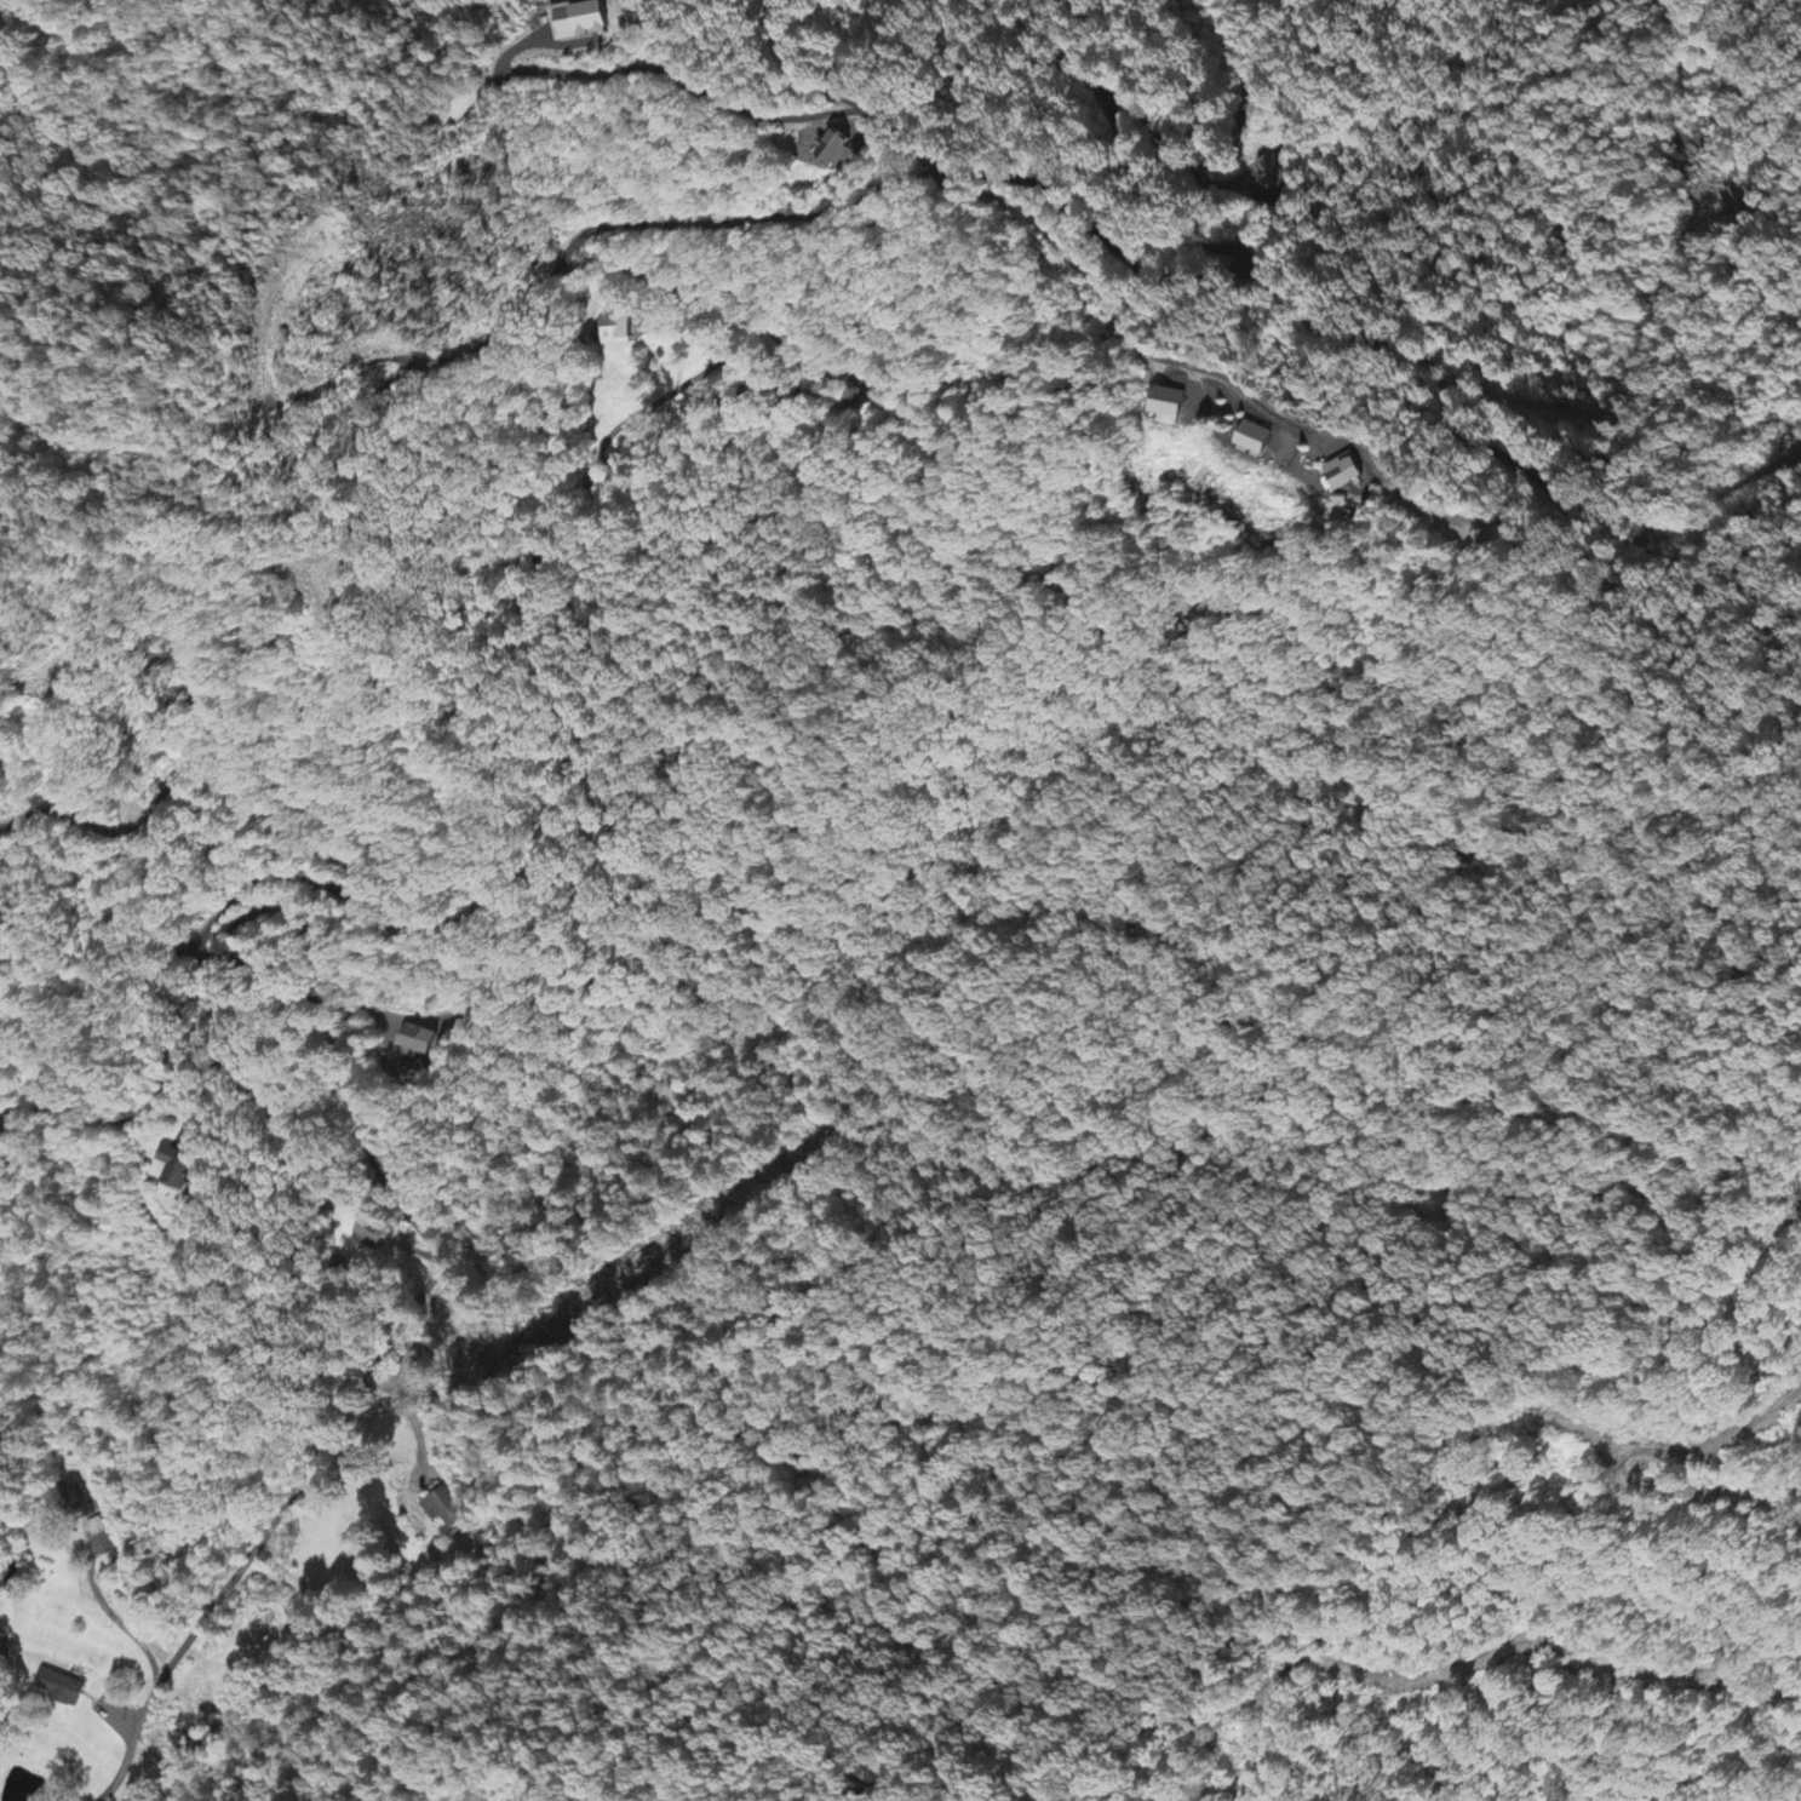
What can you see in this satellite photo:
building: (1, 25)
road: (687, 80)
building: (839, 150)
road: (1223, 155)
building: (1277, 177)
road: (1238, 251)
building: (615, 331)
road: (481, 343)
road: (1183, 363)
road: (1438, 371)
road: (796, 389)
building: (1174, 407)
building: (1263, 441)
building: (1352, 475)
road: (197, 776)
road: (758, 819)
building: (419, 1044)
road: (344, 1068)
road: (162, 1099)
building: (178, 1169)
building: (369, 1234)
building: (76, 1498)
building: (444, 1509)
road: (260, 1531)
road: (1601, 1667)
building: (59, 1690)

